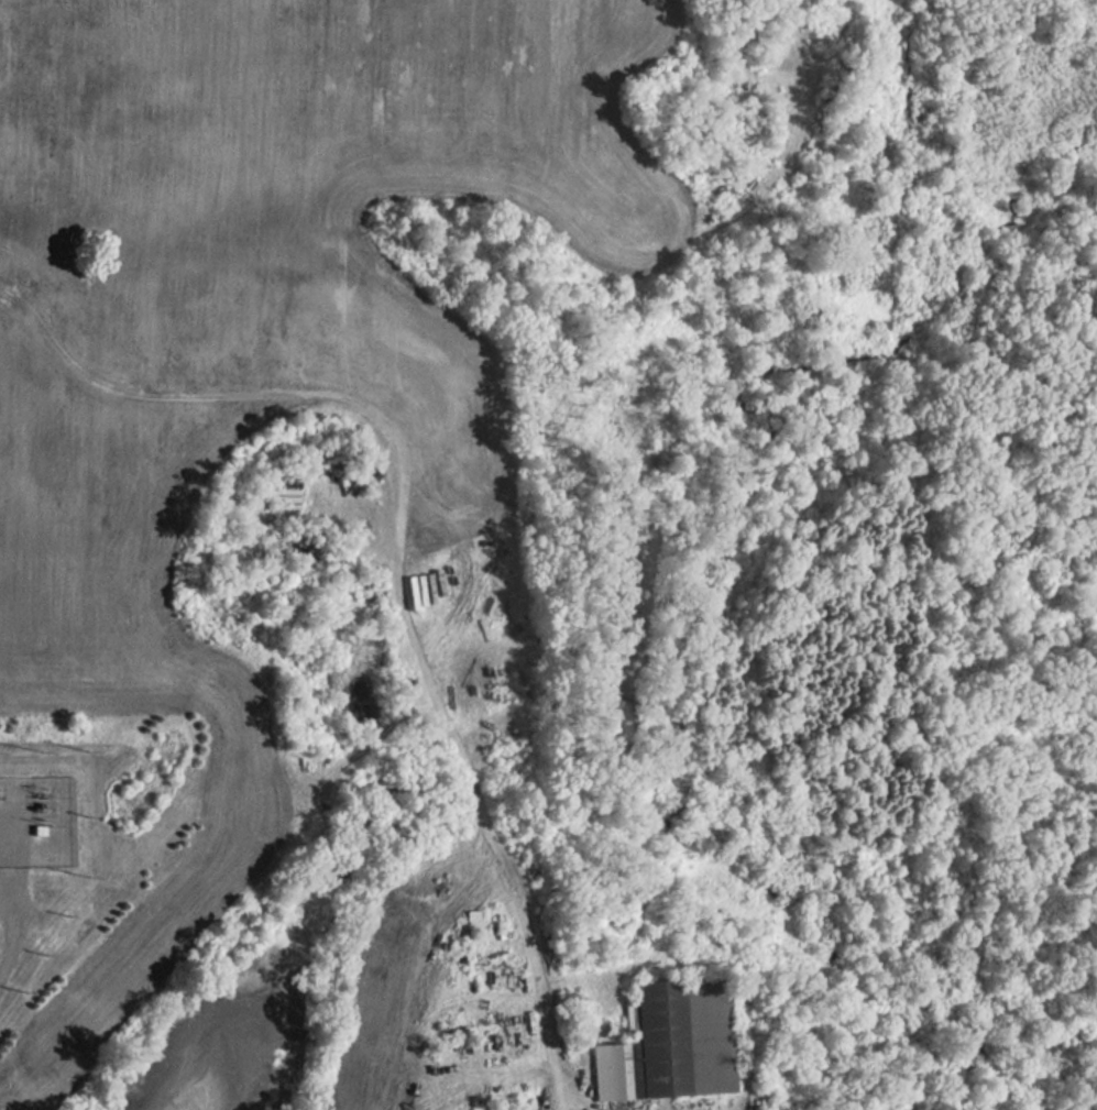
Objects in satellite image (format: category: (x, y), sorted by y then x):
crop: (643, 28)
crop: (238, 162)
road: (448, 184)
road: (398, 564)
crop: (117, 651)
crop: (0, 680)
power substation: (35, 811)
road: (14, 882)
building: (671, 1043)
road: (583, 1100)

